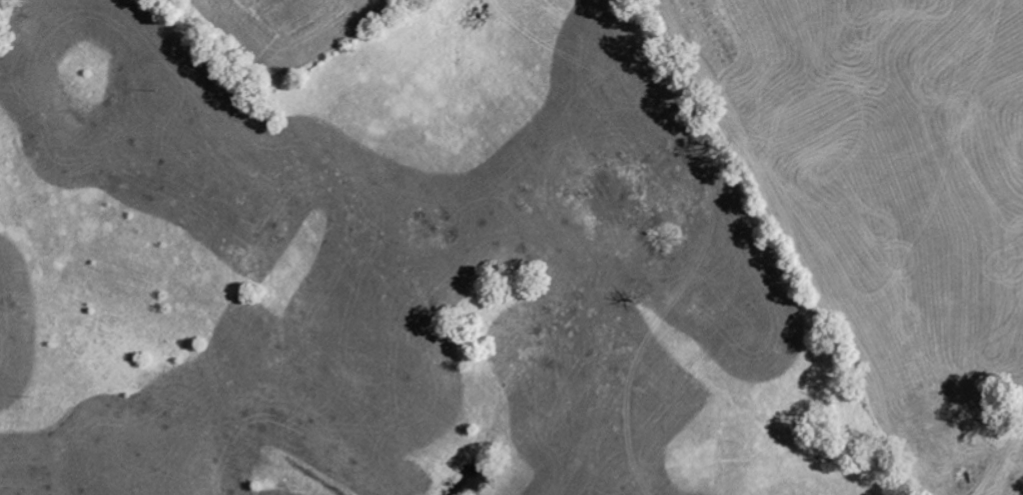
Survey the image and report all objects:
road: (979, 422)

